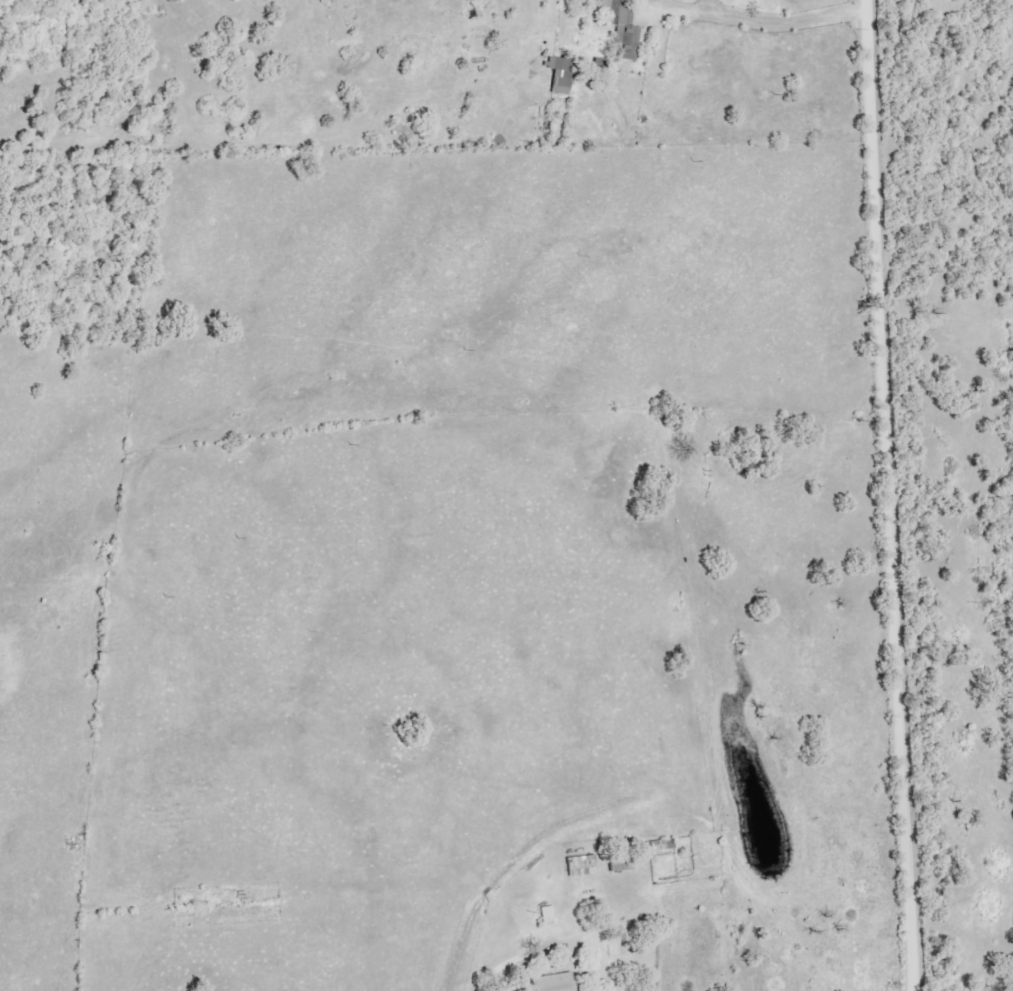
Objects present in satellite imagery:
building: (620, 29)
building: (565, 75)
road: (885, 495)
building: (581, 866)
building: (547, 914)
building: (552, 983)

